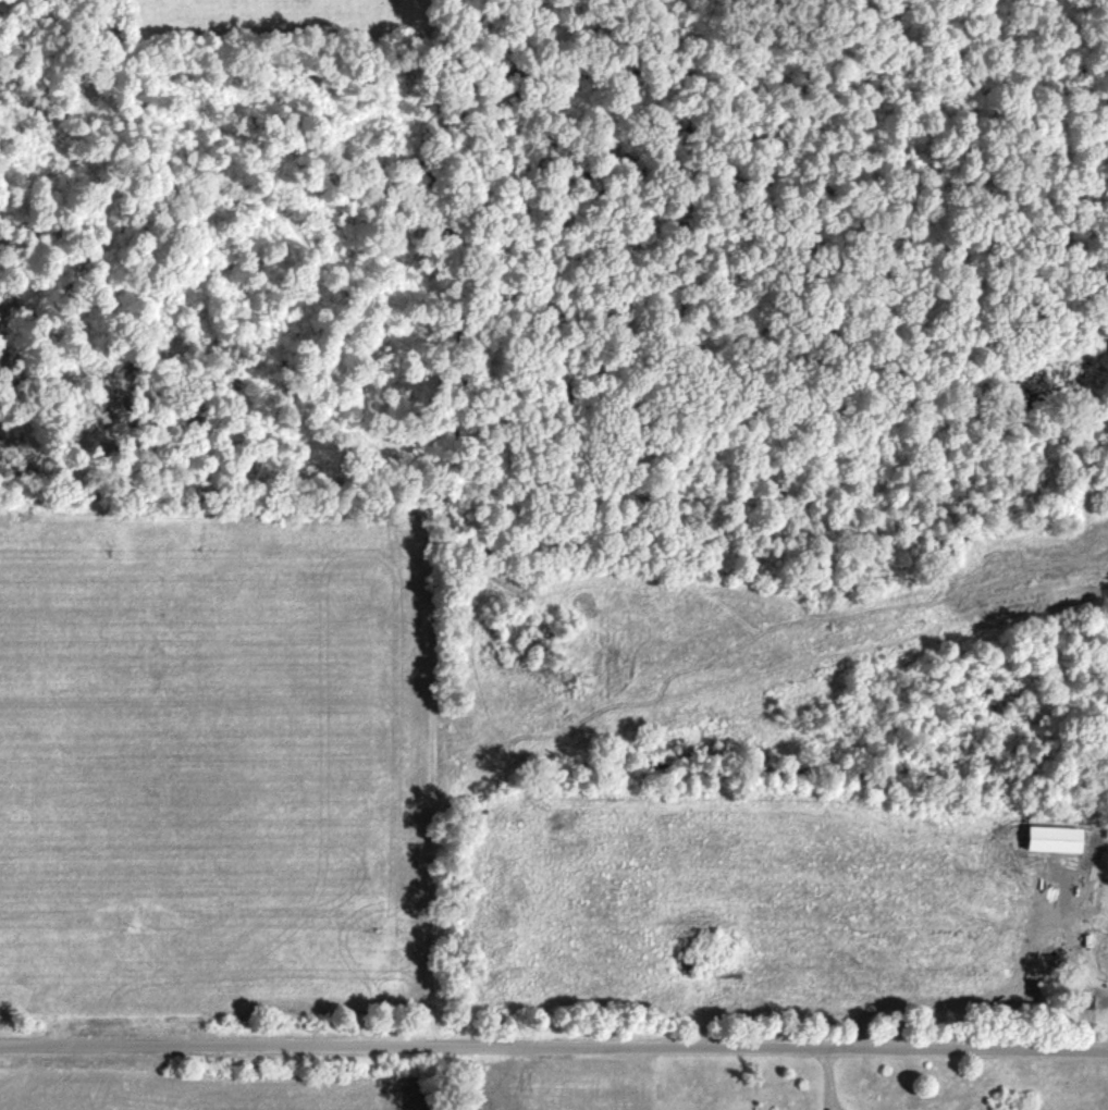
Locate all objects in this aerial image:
building: (1103, 999)
road: (553, 1043)

